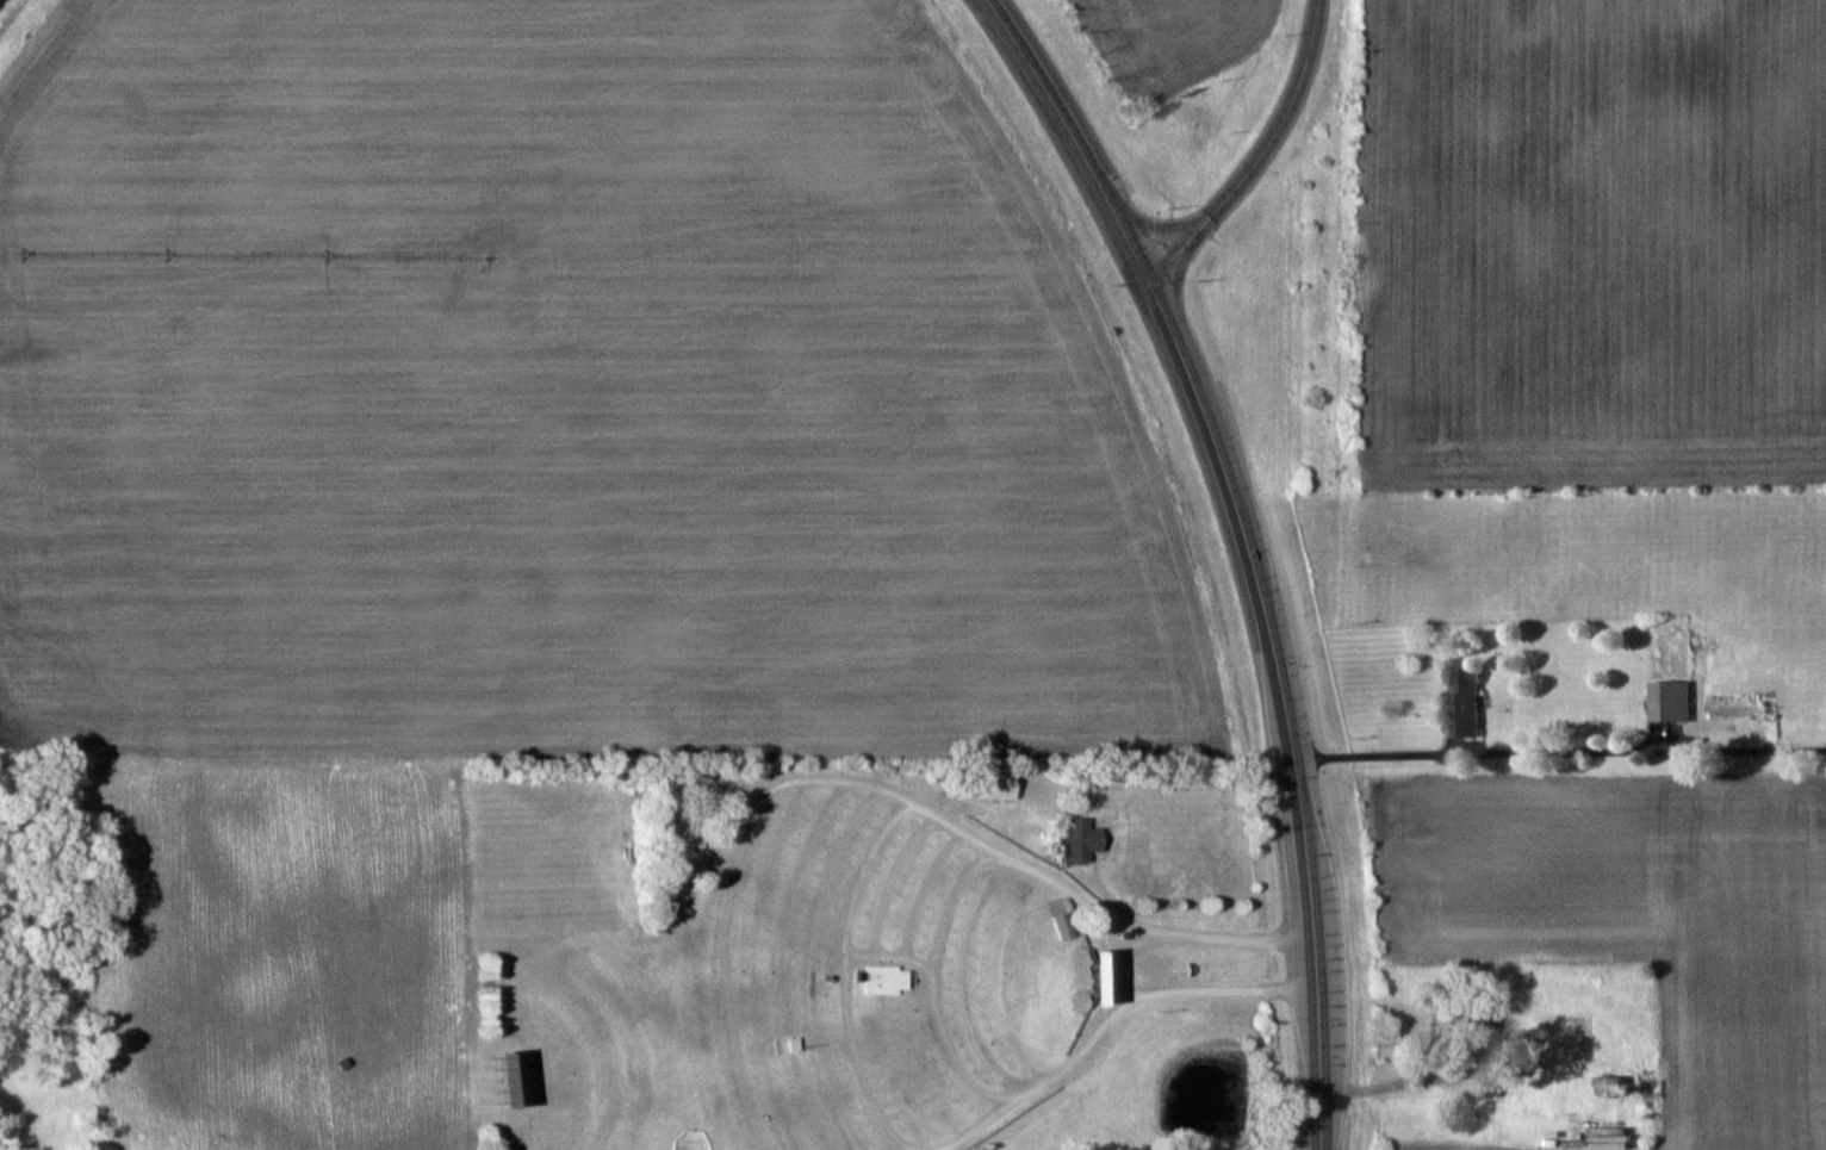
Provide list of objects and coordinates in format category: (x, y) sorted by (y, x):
road: (1067, 136)
road: (1254, 153)
building: (1460, 701)
building: (1669, 702)
road: (1278, 703)
road: (1558, 751)
building: (996, 785)
building: (696, 814)
building: (1079, 839)
building: (887, 980)
road: (934, 986)
building: (1480, 1027)
building: (1609, 1086)
building: (1487, 1088)

